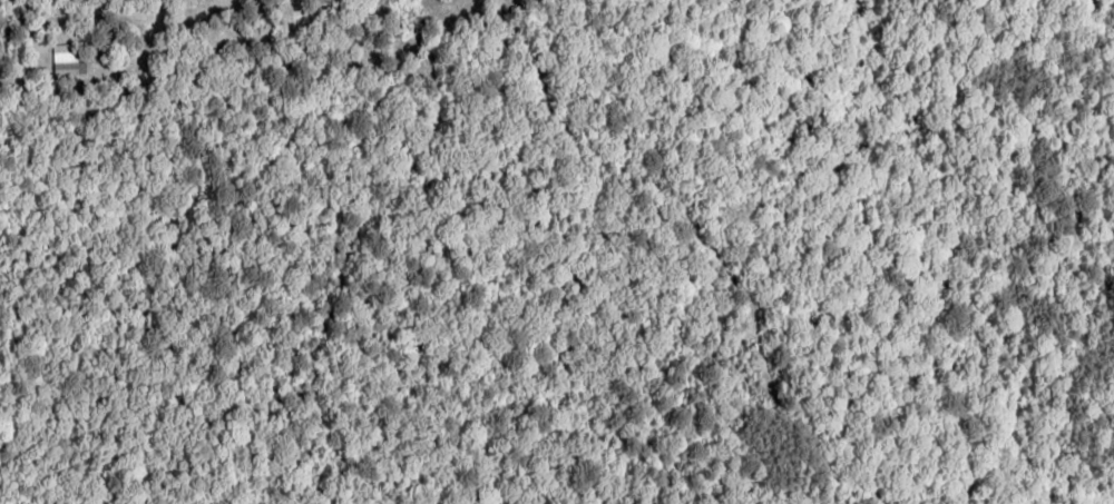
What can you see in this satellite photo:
building: (67, 60)

